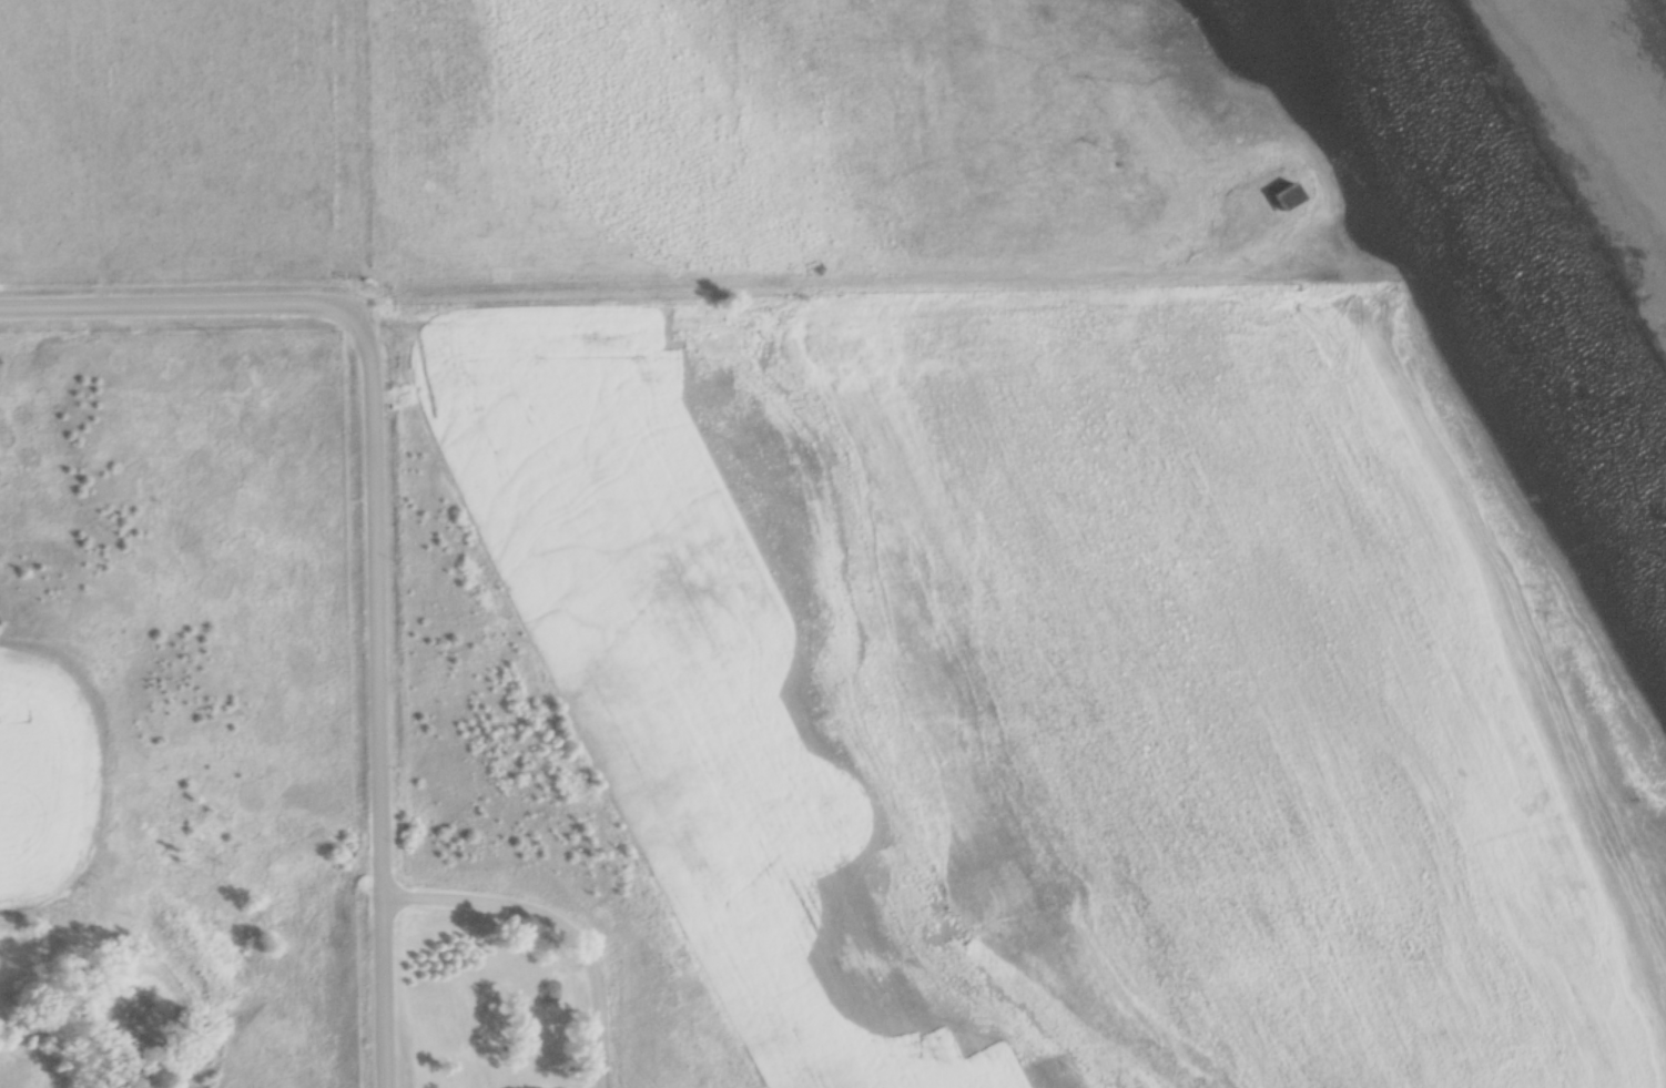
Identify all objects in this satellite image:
building: (1288, 195)
river: (1513, 282)
road: (634, 299)
crop: (1065, 691)
road: (378, 698)
road: (555, 928)

